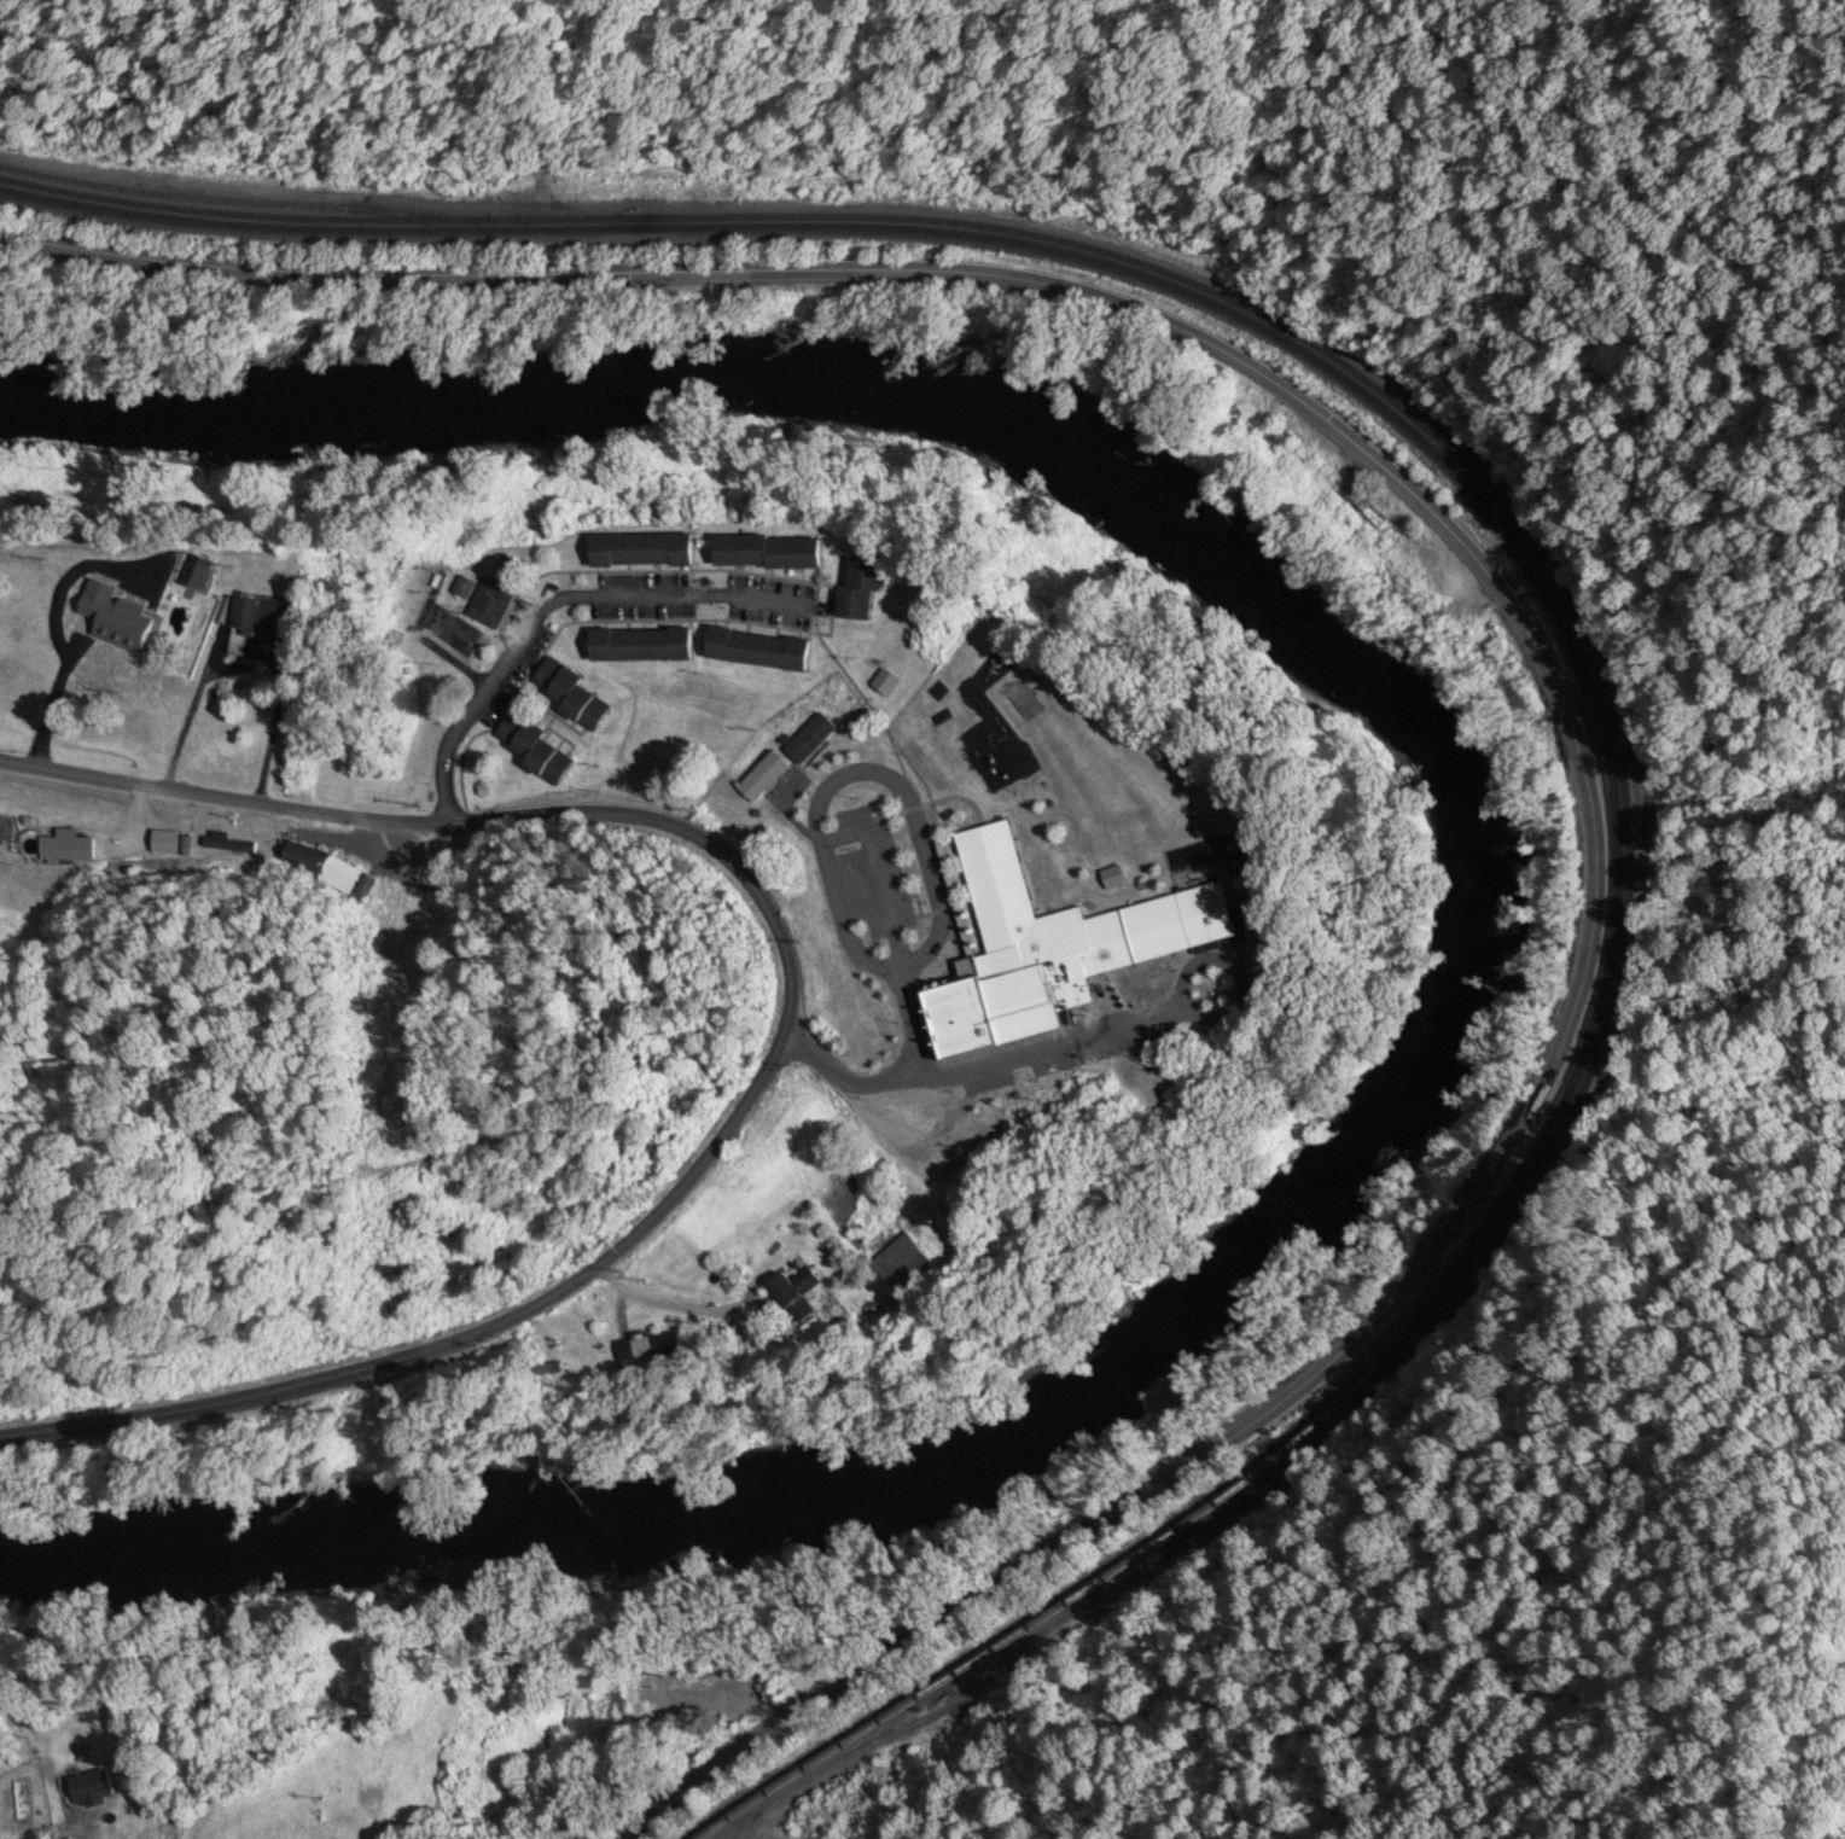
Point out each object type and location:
building: (1362, 512)
building: (644, 551)
building: (769, 553)
building: (194, 576)
railway: (1566, 586)
building: (464, 588)
building: (861, 589)
road: (558, 603)
building: (489, 606)
building: (104, 615)
building: (269, 618)
road: (1531, 641)
building: (642, 646)
building: (759, 650)
building: (571, 696)
building: (810, 740)
building: (535, 749)
building: (763, 778)
road: (850, 834)
building: (168, 848)
building: (1113, 878)
building: (363, 889)
river: (1444, 923)
building: (1050, 953)
road: (1625, 997)
road: (784, 1028)
road: (979, 1081)
building: (902, 1263)
building: (797, 1294)
building: (654, 1346)
road: (63, 1758)
building: (92, 1789)

